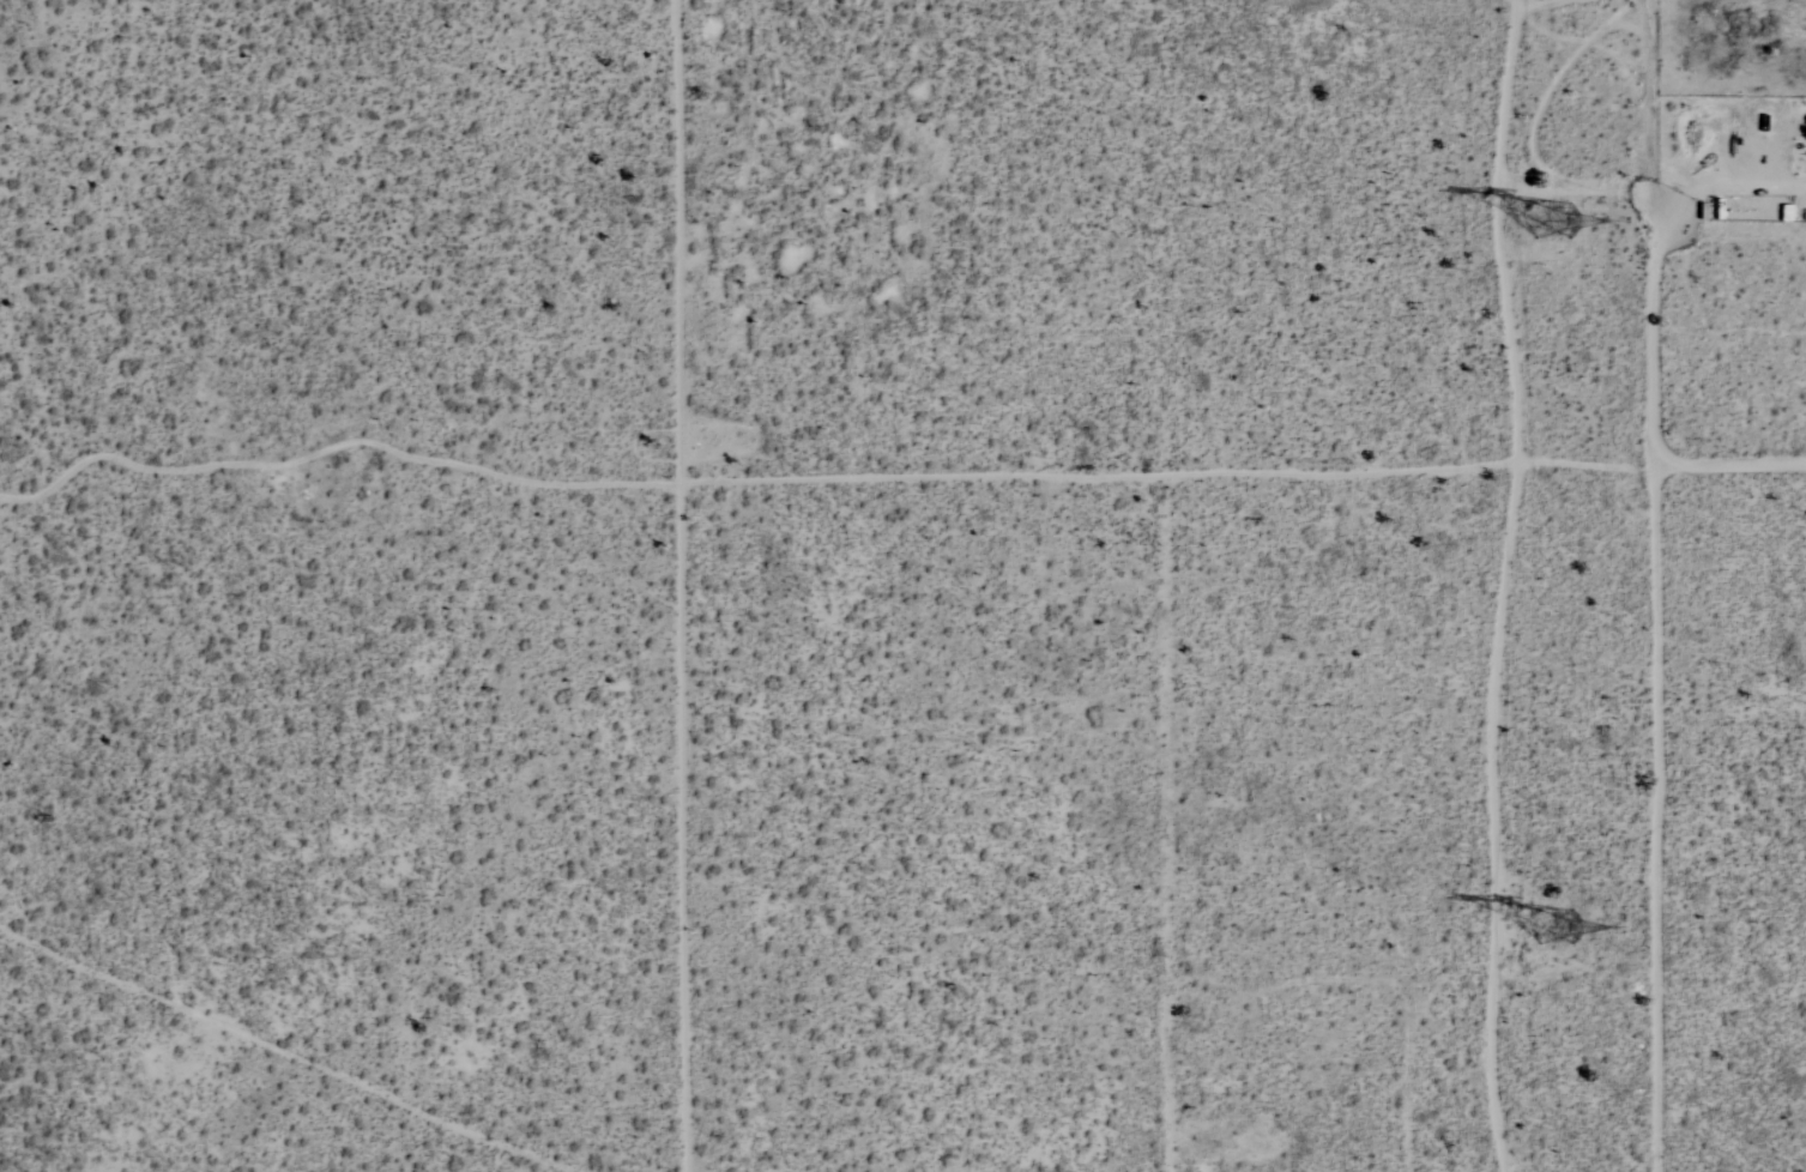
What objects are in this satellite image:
road: (1721, 182)
power tower: (1529, 222)
road: (1727, 464)
road: (568, 525)
road: (1654, 585)
road: (683, 586)
road: (1249, 856)
power tower: (1548, 919)
road: (1460, 1004)

